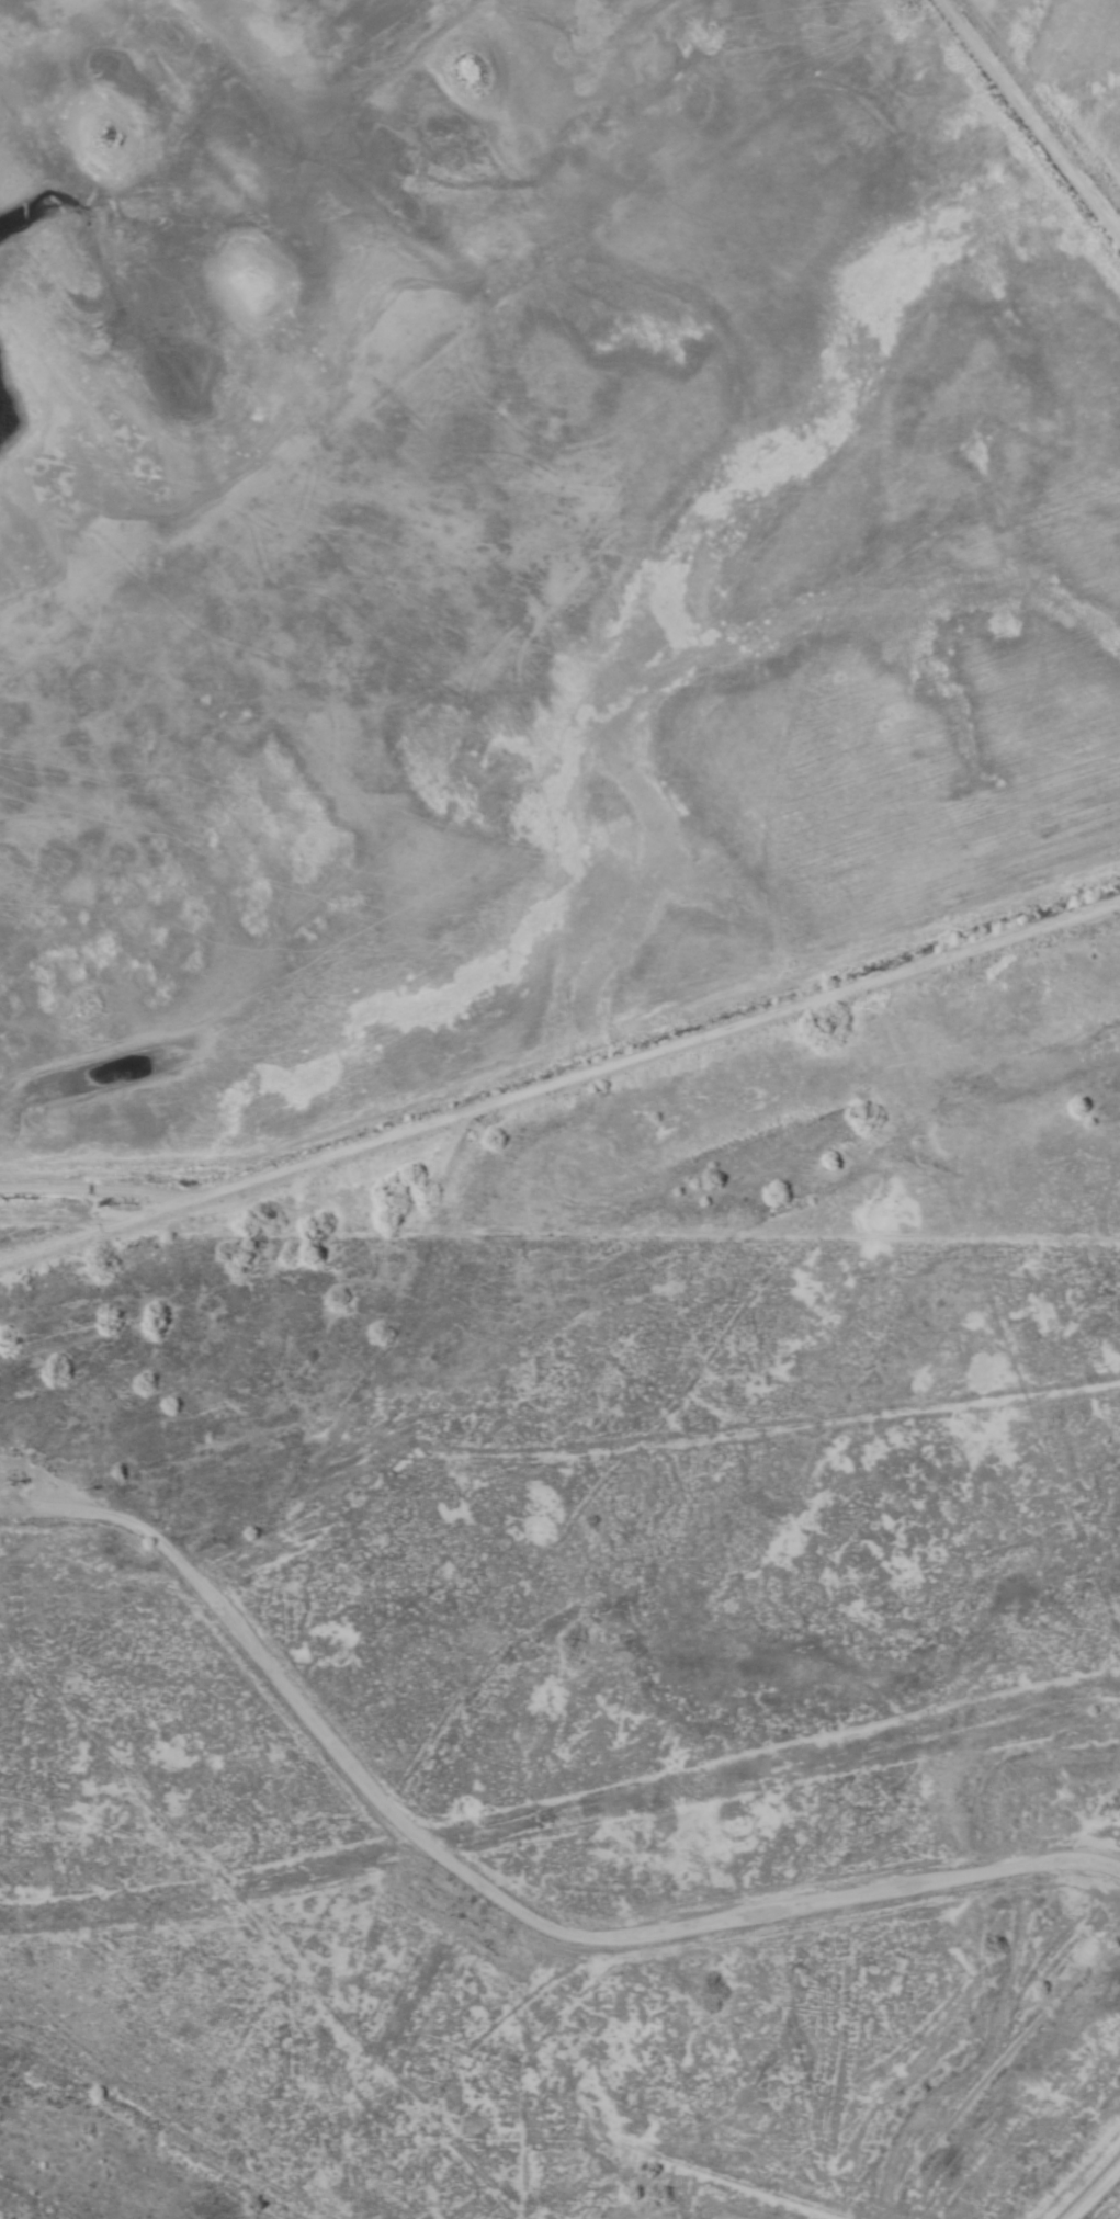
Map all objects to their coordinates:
road: (1029, 117)
road: (561, 1068)
road: (489, 1891)
road: (1077, 2176)

